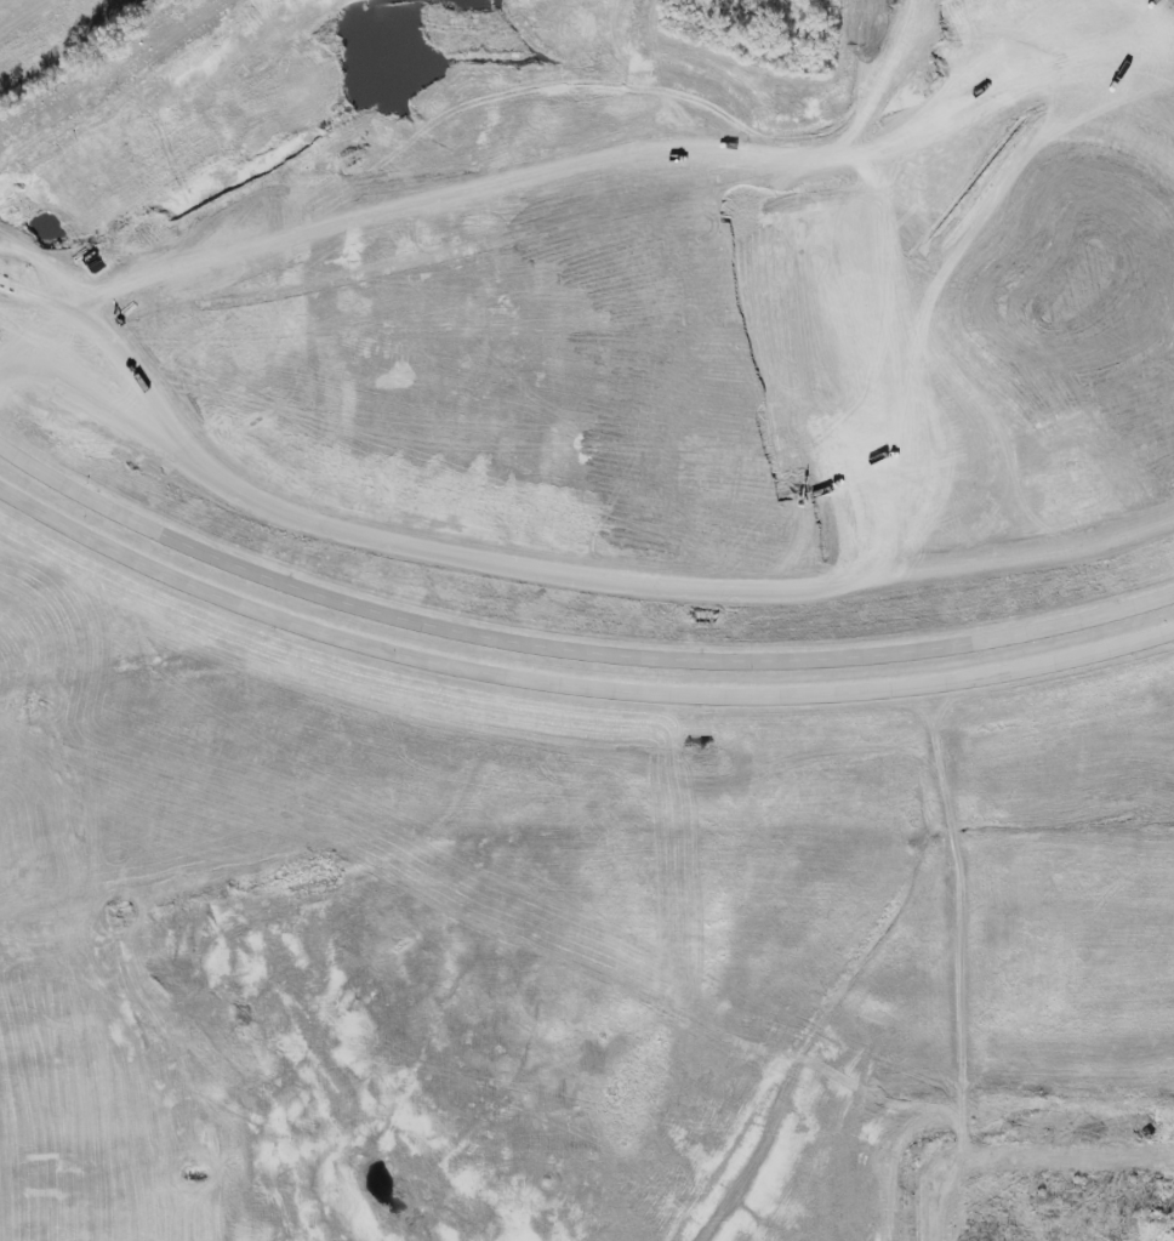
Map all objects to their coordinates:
road: (571, 648)
road: (571, 683)

